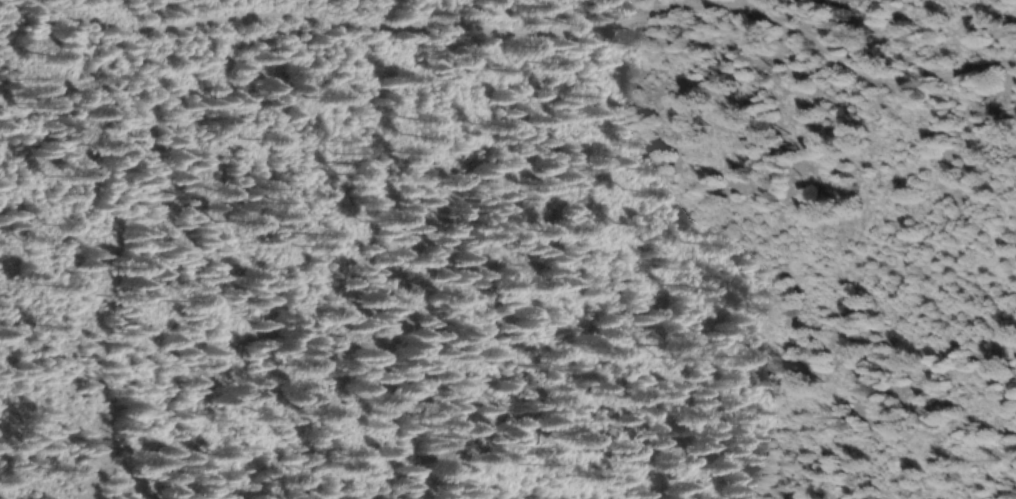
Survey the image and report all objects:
road: (526, 33)

